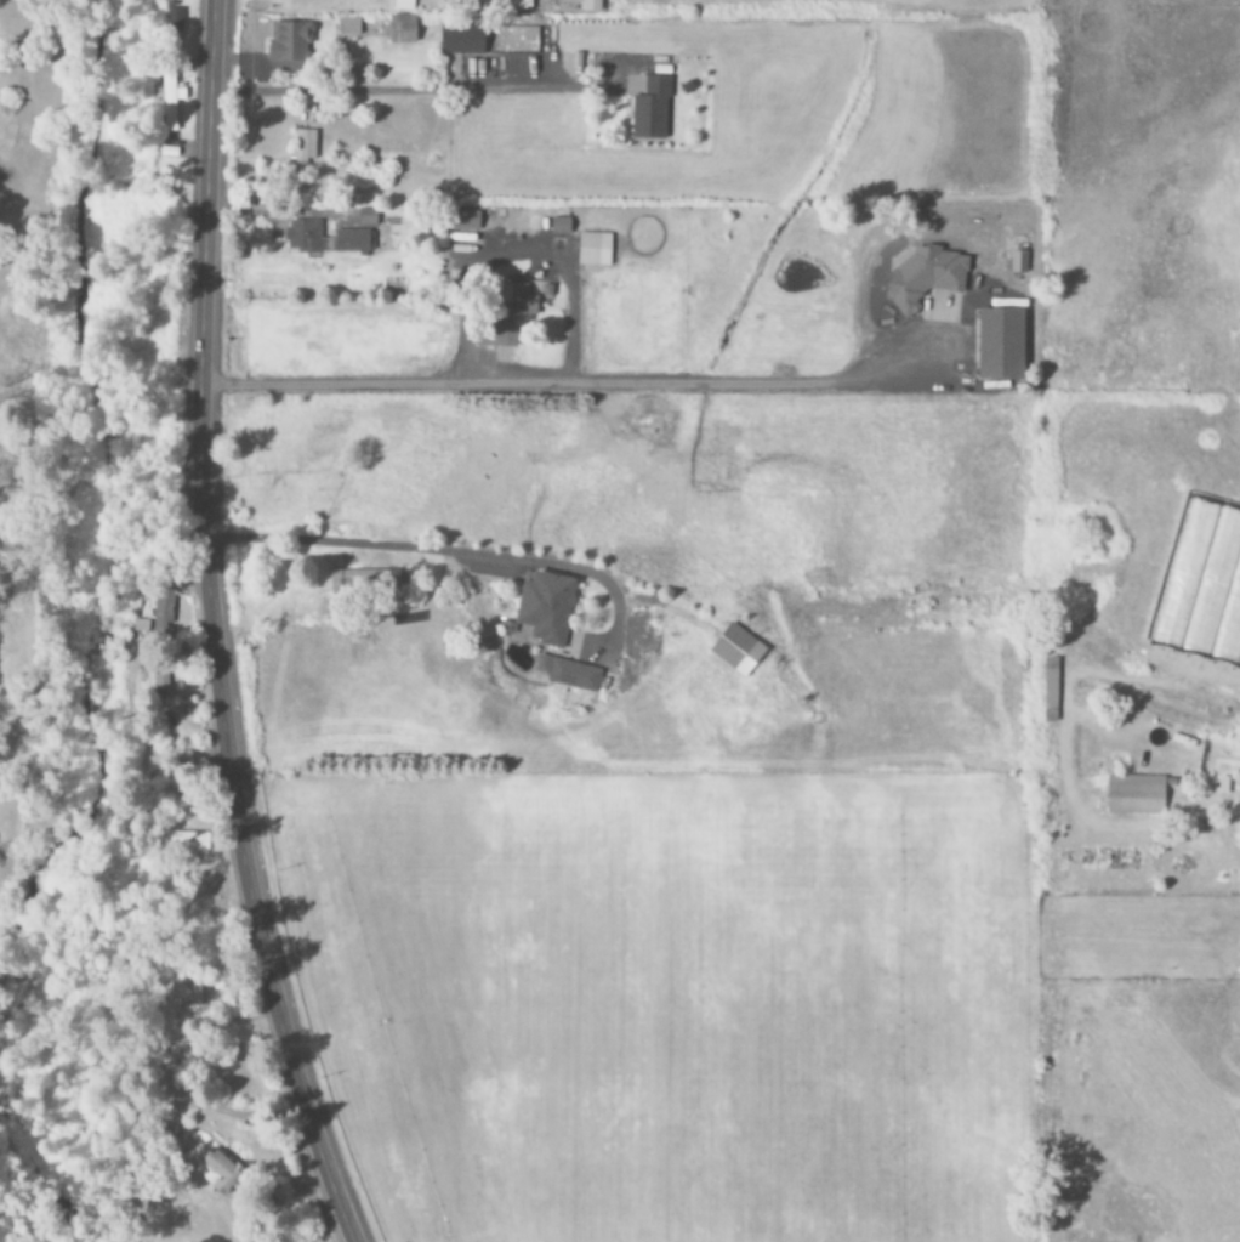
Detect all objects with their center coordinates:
building: (403, 5)
building: (495, 5)
building: (590, 6)
building: (347, 27)
building: (402, 29)
building: (461, 39)
building: (289, 46)
building: (170, 102)
building: (649, 109)
building: (303, 144)
building: (366, 217)
building: (463, 221)
building: (559, 226)
building: (302, 236)
building: (352, 242)
building: (593, 250)
building: (1017, 261)
building: (925, 277)
building: (511, 313)
building: (1000, 344)
road: (585, 369)
building: (364, 582)
building: (157, 607)
building: (545, 608)
road: (212, 629)
building: (736, 650)
building: (568, 674)
building: (1134, 795)
road: (1236, 815)
building: (184, 841)
building: (187, 996)
building: (210, 1170)

